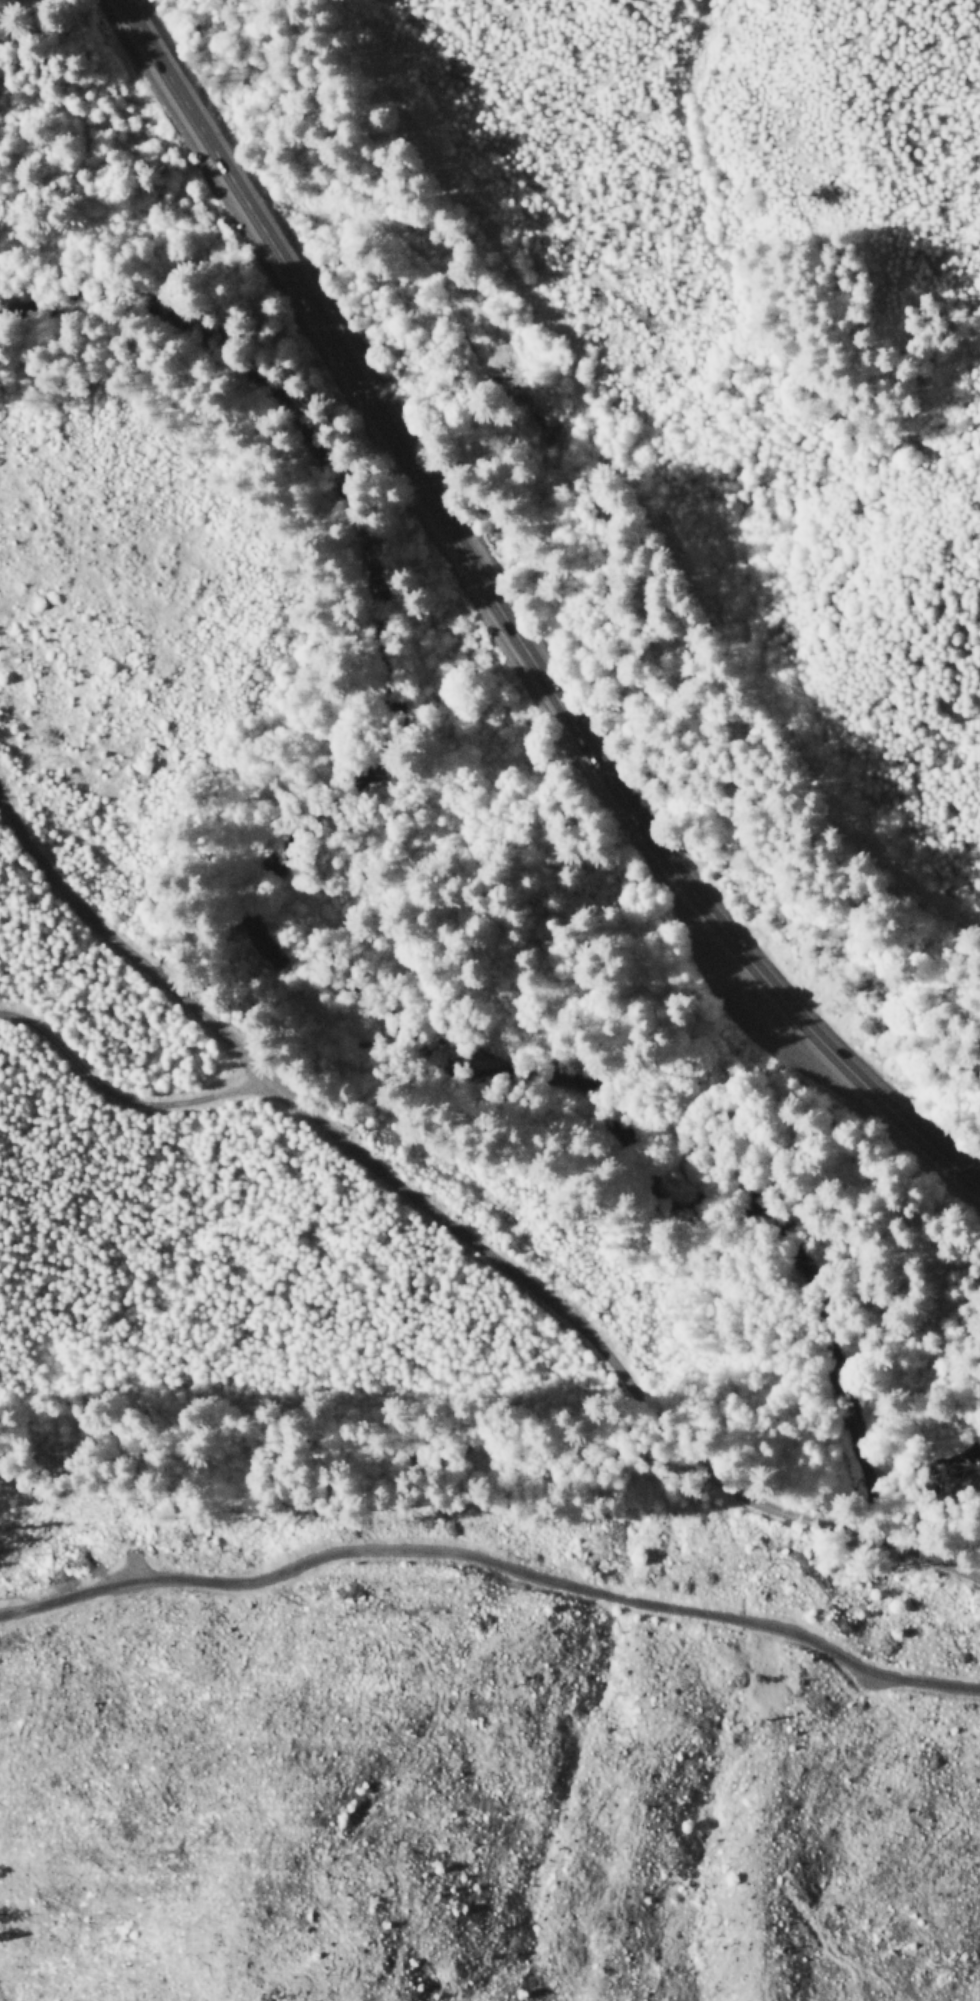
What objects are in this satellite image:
road: (170, 74)
road: (461, 542)
road: (796, 752)
road: (845, 1059)
road: (129, 1099)
road: (459, 1226)

